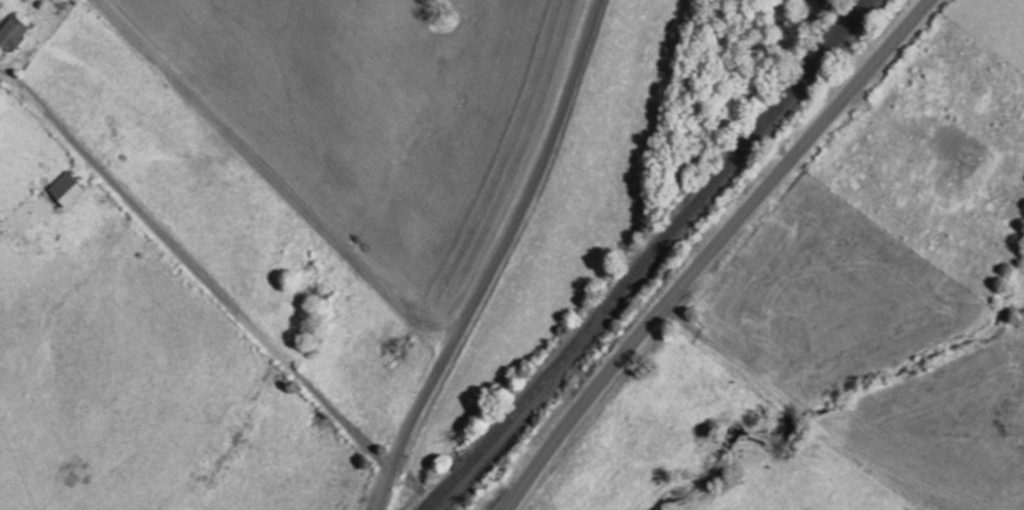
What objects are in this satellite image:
building: (15, 34)
building: (69, 190)
road: (714, 250)
railway: (652, 256)
road: (499, 259)

